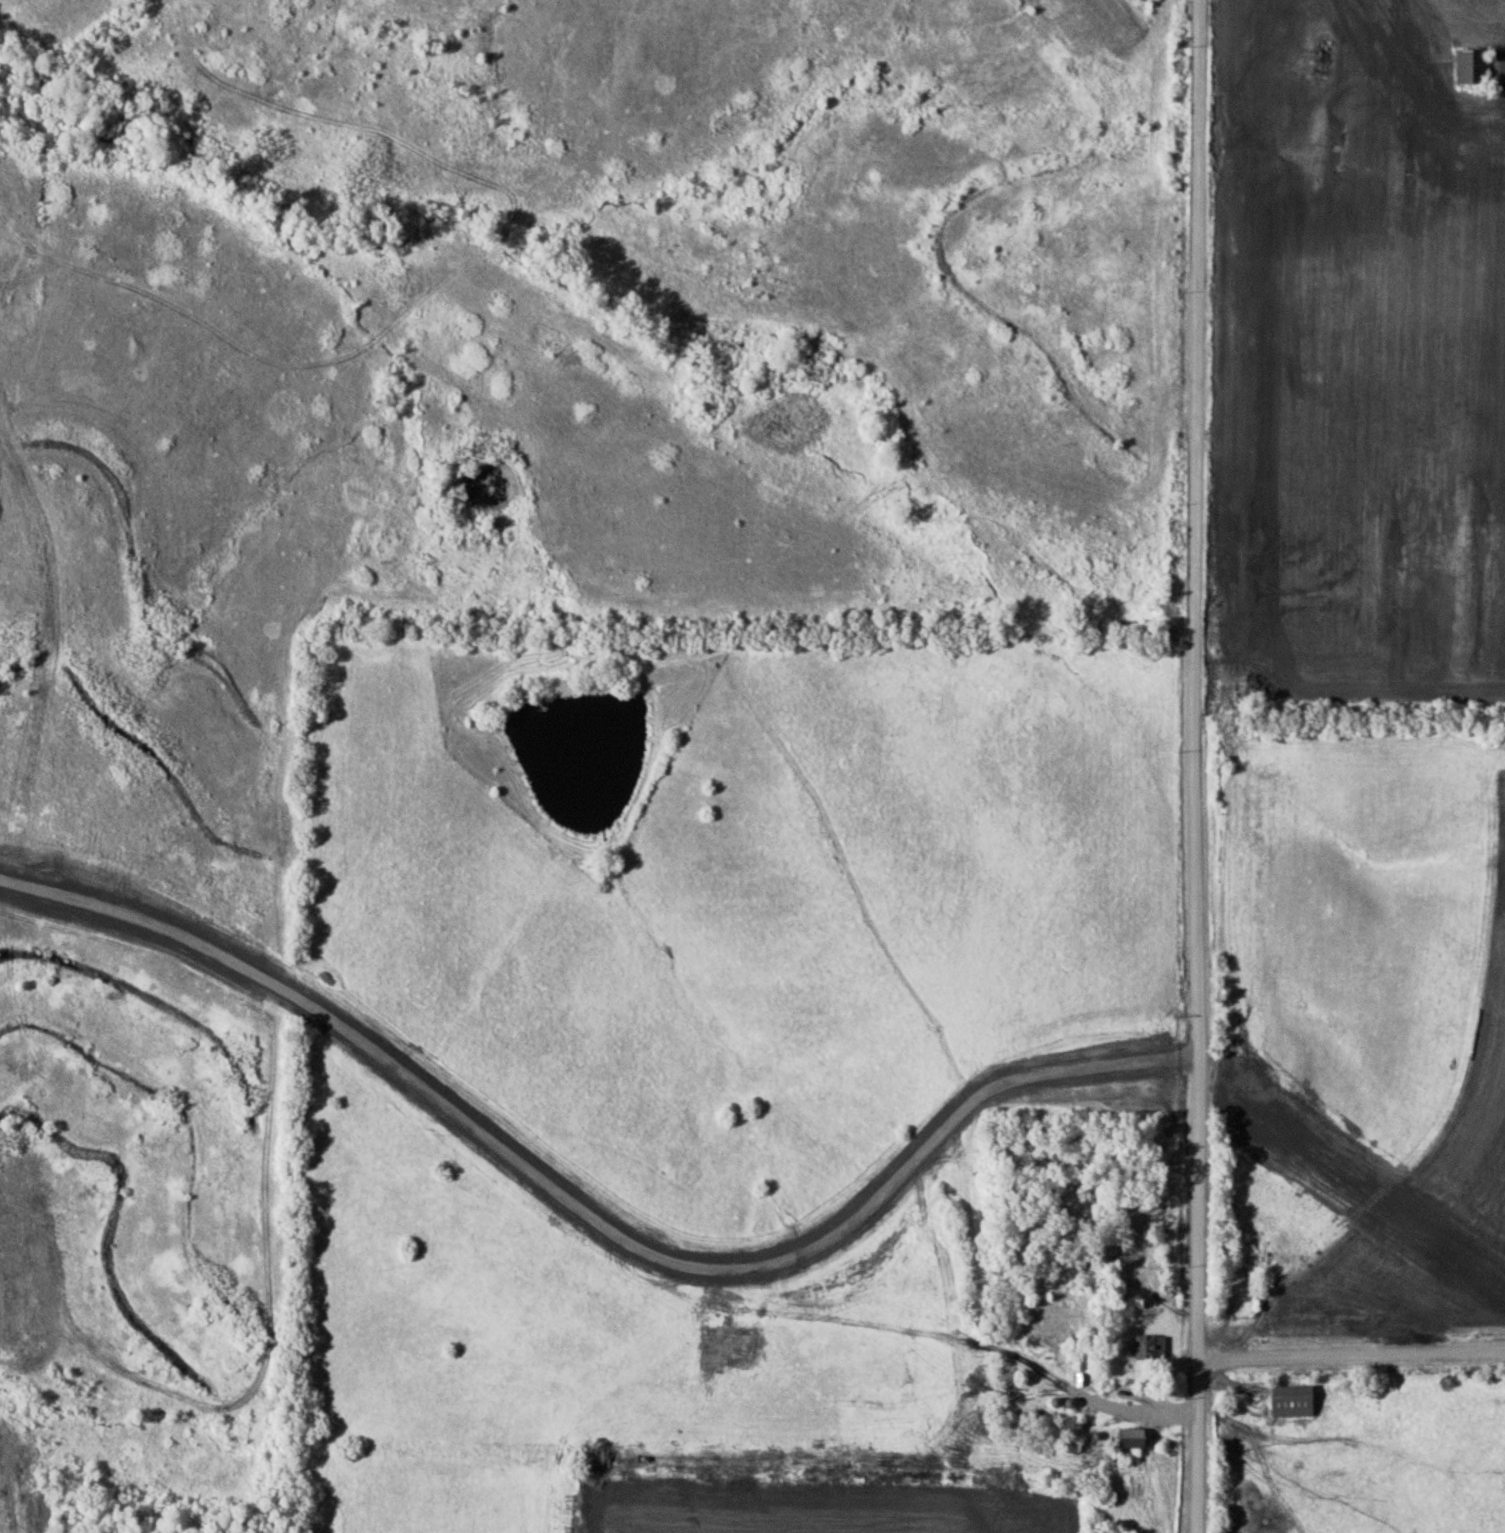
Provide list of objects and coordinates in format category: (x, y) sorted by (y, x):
building: (1319, 65)
building: (1472, 65)
road: (1196, 766)
building: (1152, 1347)
road: (1349, 1355)
building: (1296, 1400)
building: (1135, 1437)

